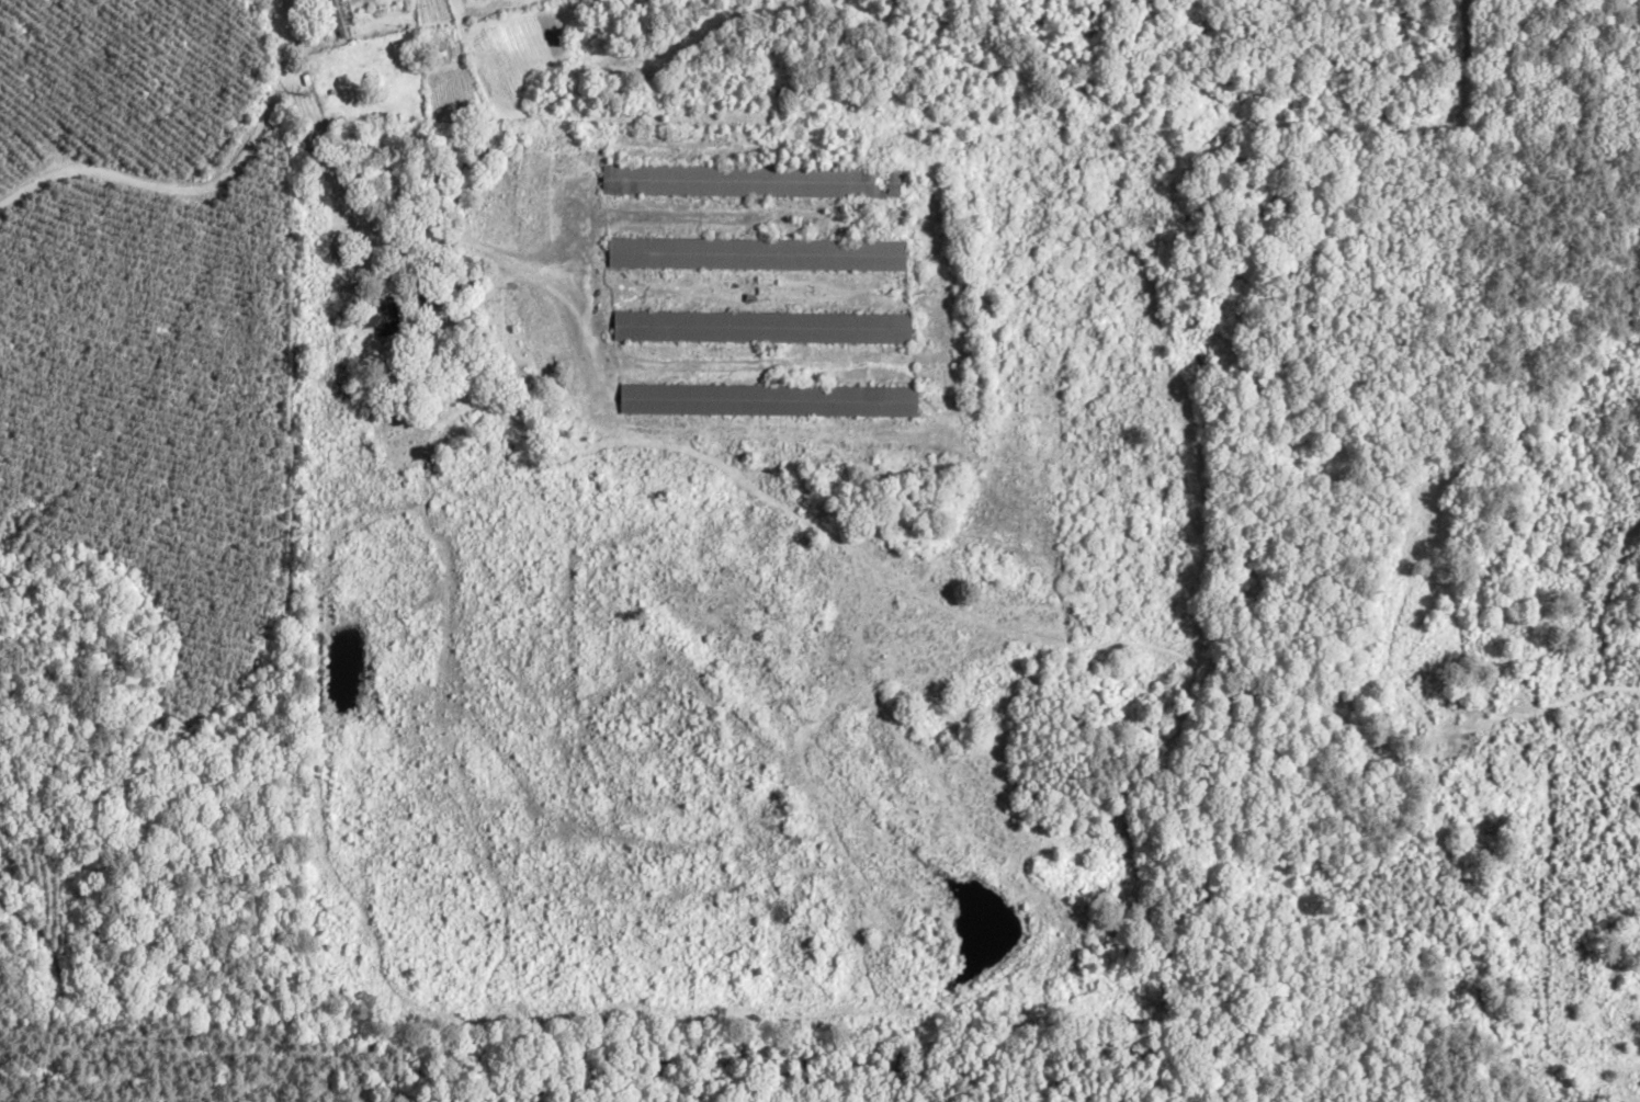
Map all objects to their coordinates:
building: (369, 3)
building: (340, 21)
building: (755, 185)
building: (759, 258)
building: (391, 323)
building: (766, 331)
building: (771, 405)

